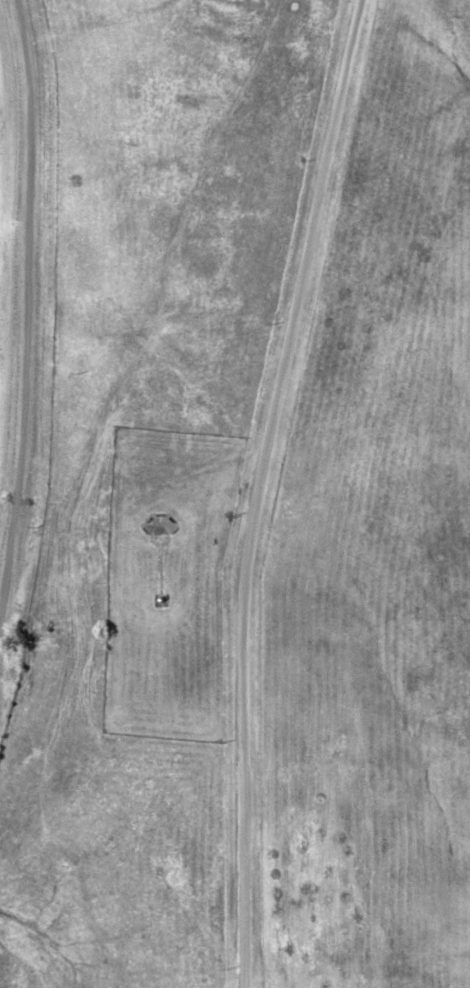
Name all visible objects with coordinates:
road: (25, 304)
road: (263, 488)
building: (158, 545)

